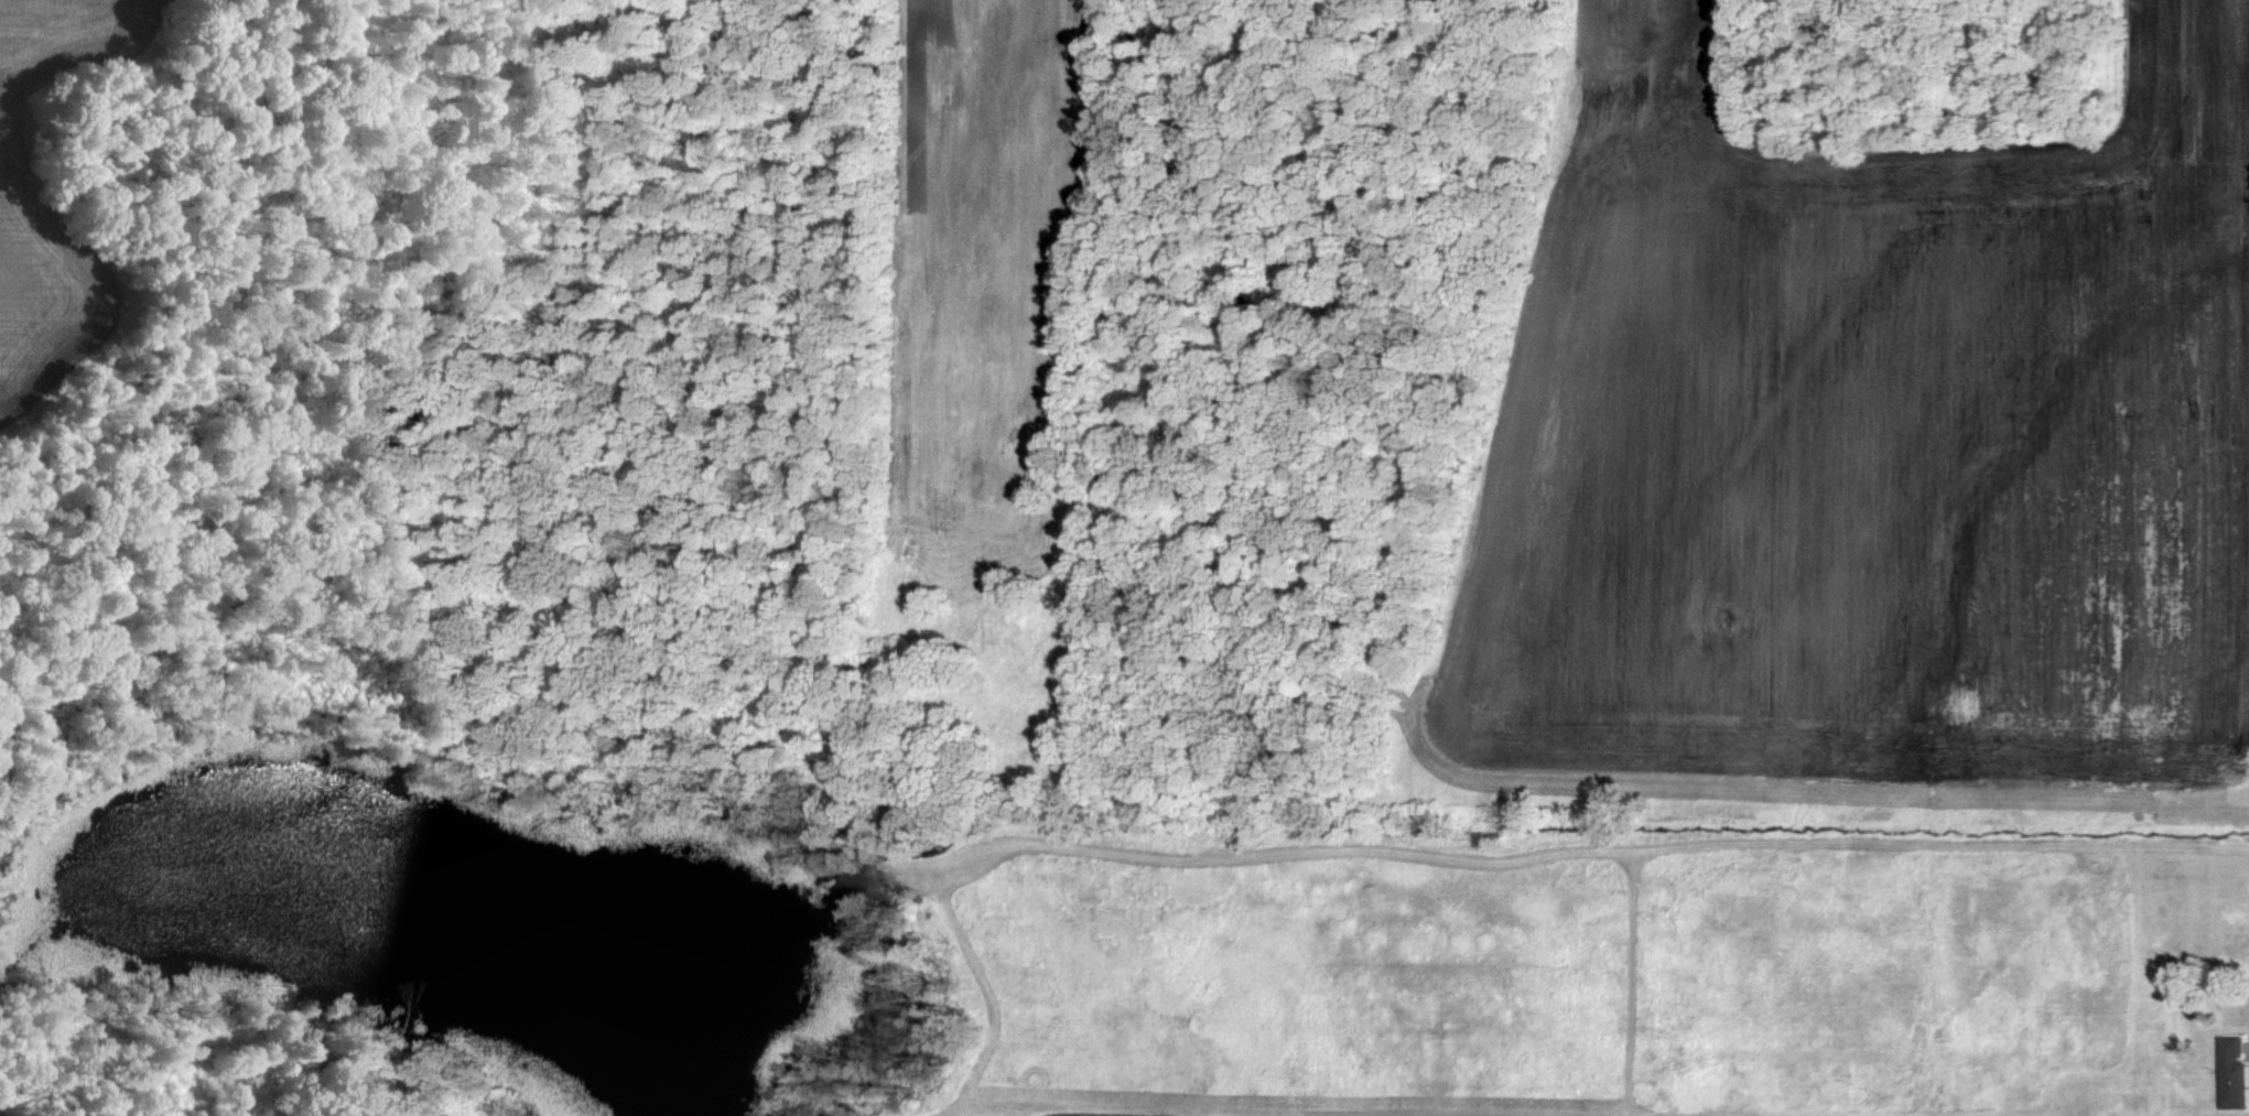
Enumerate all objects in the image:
building: (2234, 1073)

